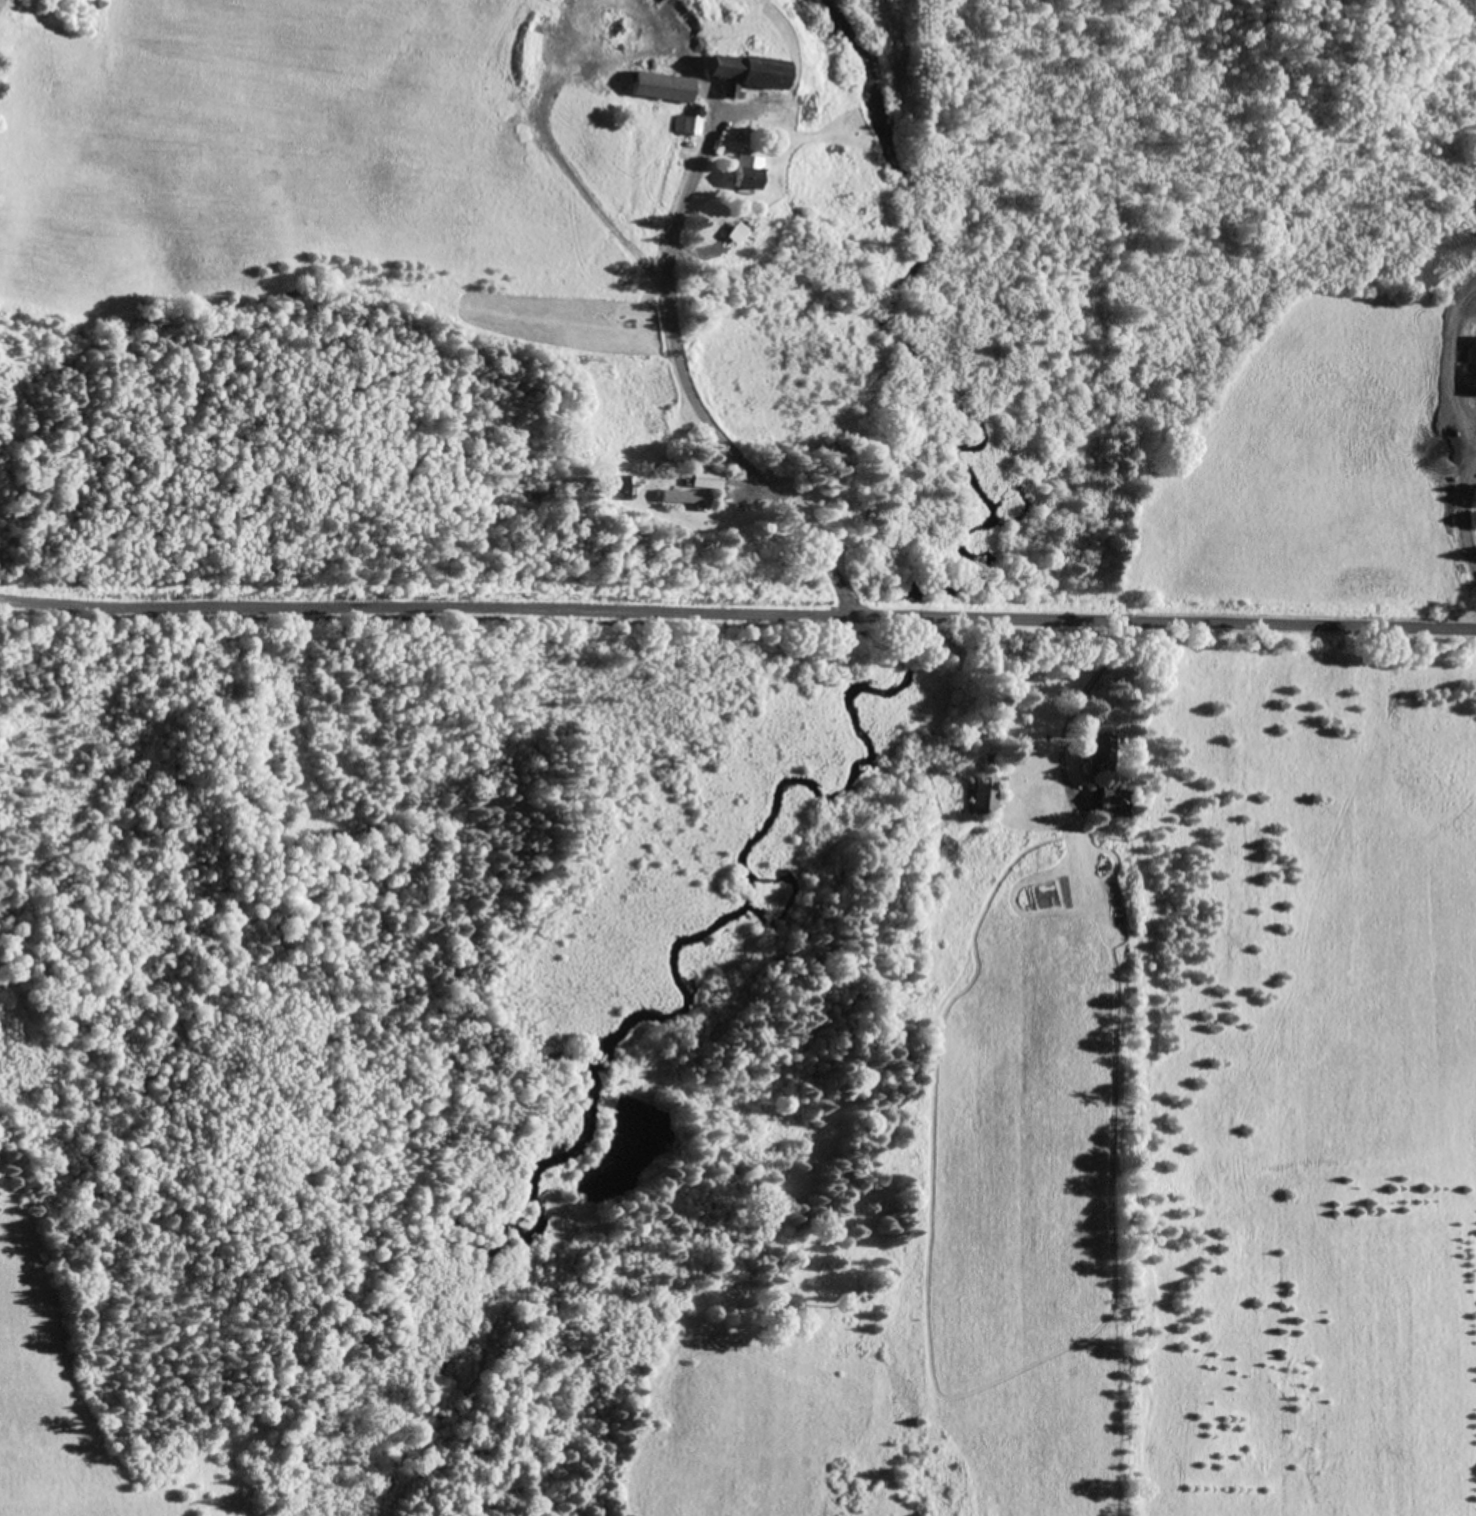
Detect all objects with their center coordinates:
building: (748, 71)
building: (668, 85)
building: (694, 120)
building: (751, 170)
road: (690, 386)
building: (708, 486)
road: (738, 612)
building: (1105, 752)
building: (987, 793)
building: (1115, 801)

